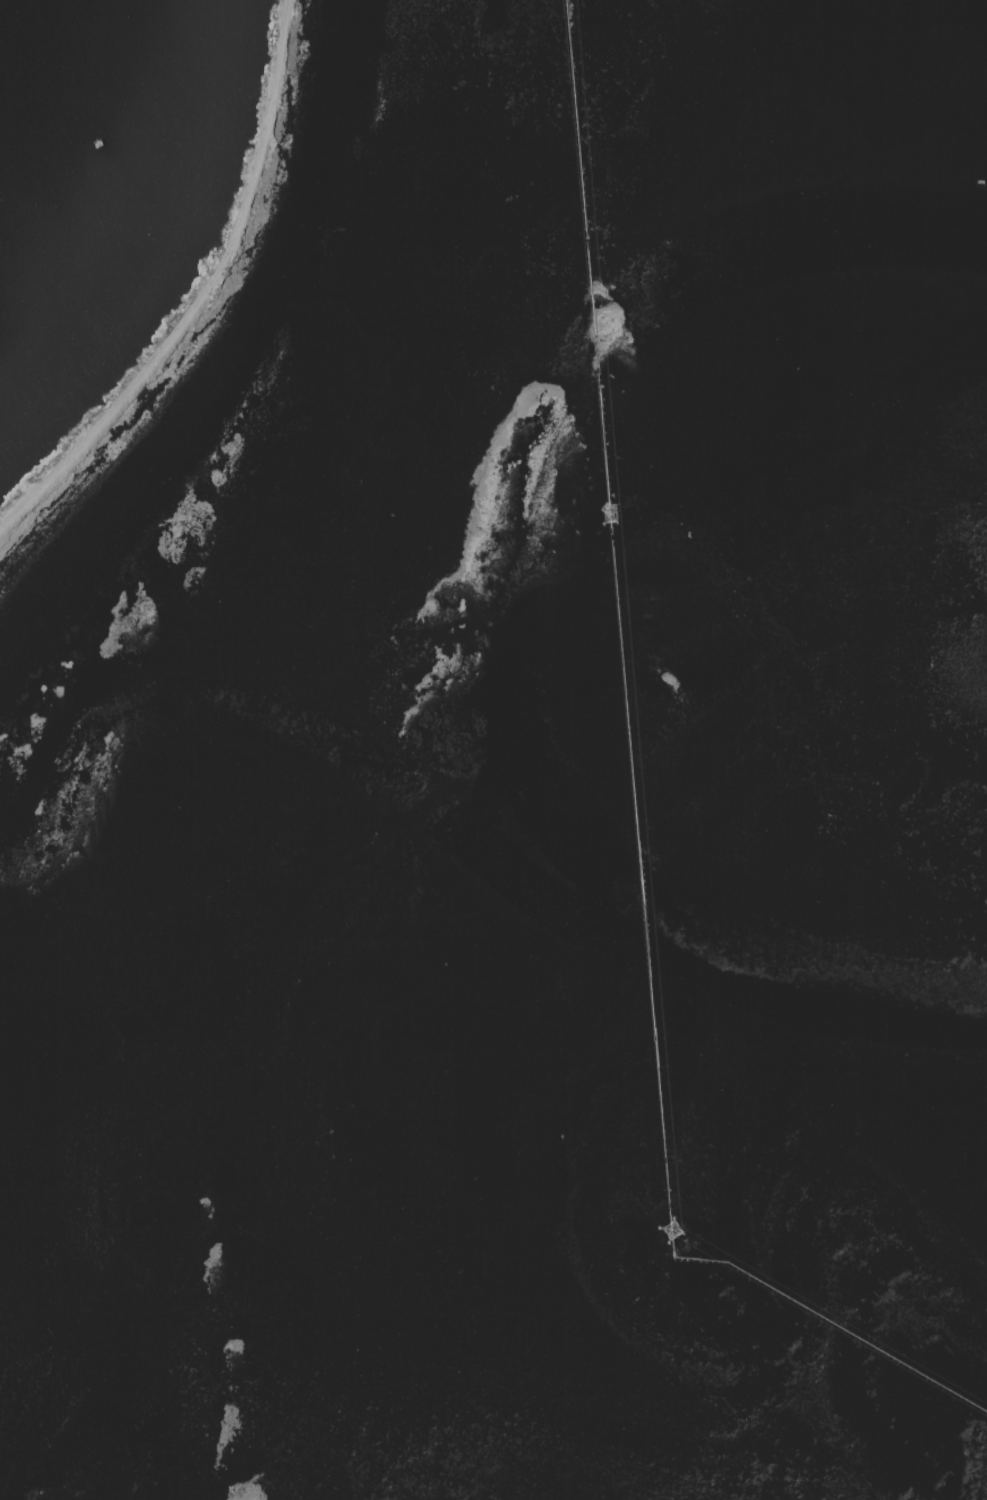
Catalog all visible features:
power tower: (611, 520)
pier: (634, 804)
power tower: (669, 1234)

